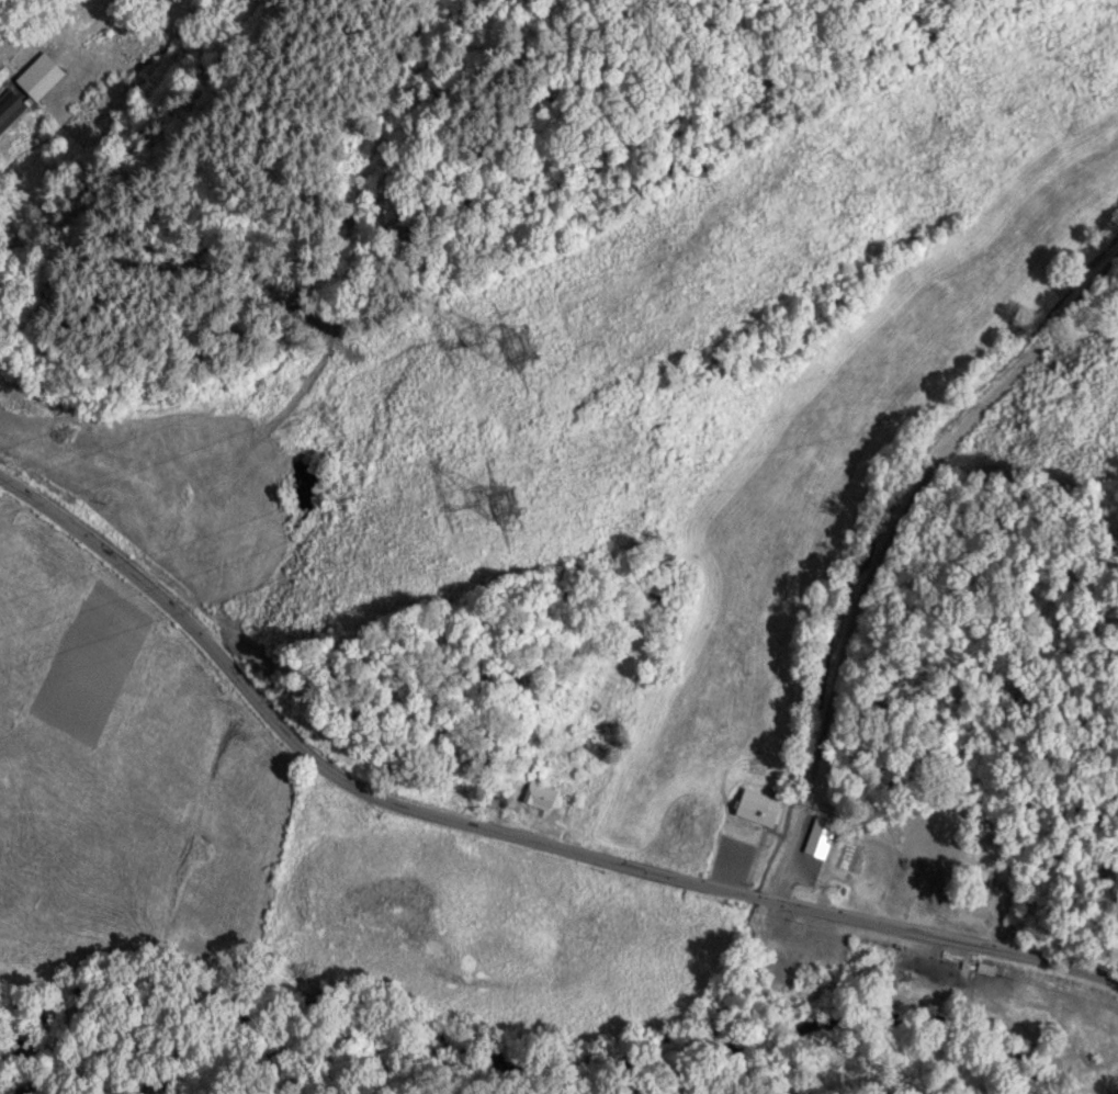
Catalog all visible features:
power tower: (519, 354)
power tower: (518, 508)
road: (878, 537)
road: (337, 774)
building: (761, 804)
building: (821, 835)
building: (923, 871)
road: (945, 935)

